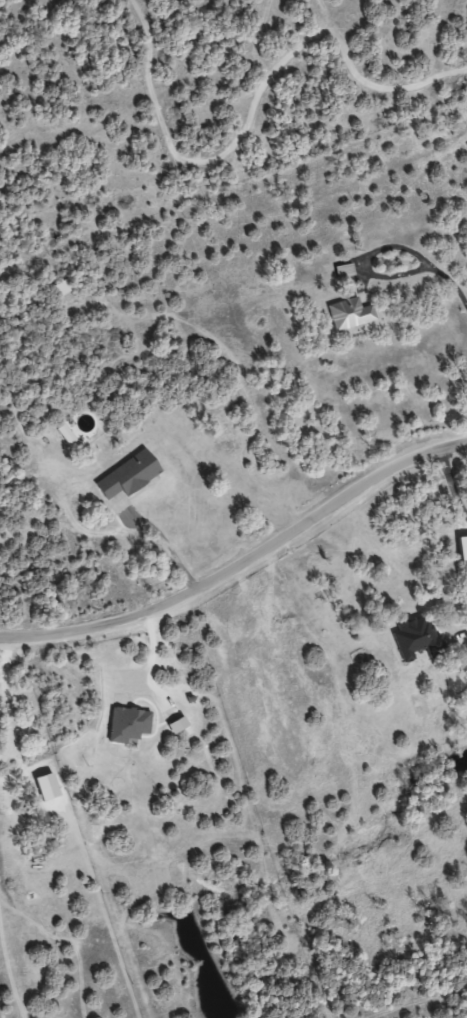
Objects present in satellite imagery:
building: (343, 271)
building: (62, 287)
building: (348, 313)
building: (126, 475)
road: (169, 537)
road: (243, 561)
building: (415, 639)

